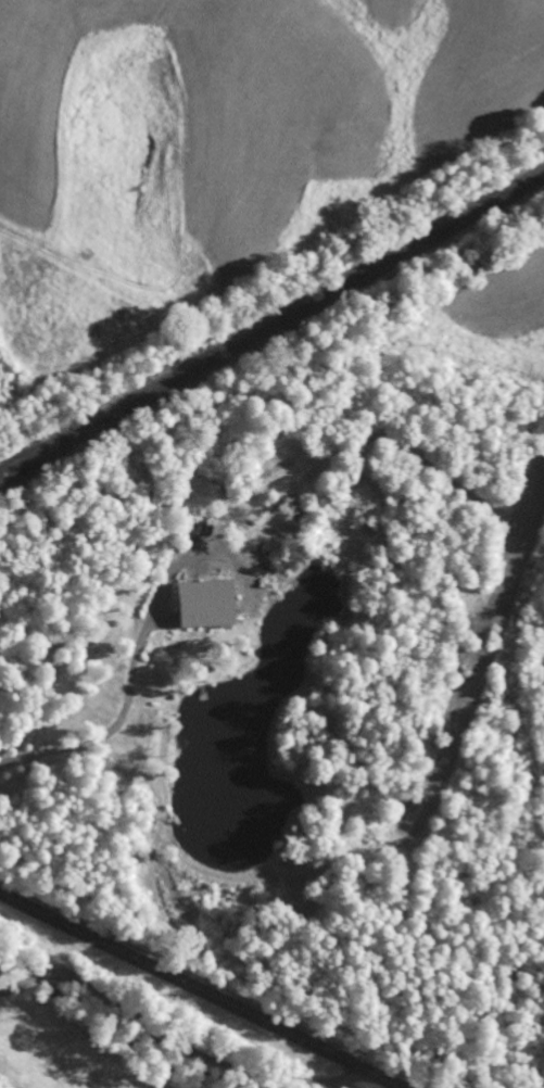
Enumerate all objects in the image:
railway: (271, 324)
building: (205, 602)
road: (199, 990)
road: (150, 1023)
road: (382, 1086)

